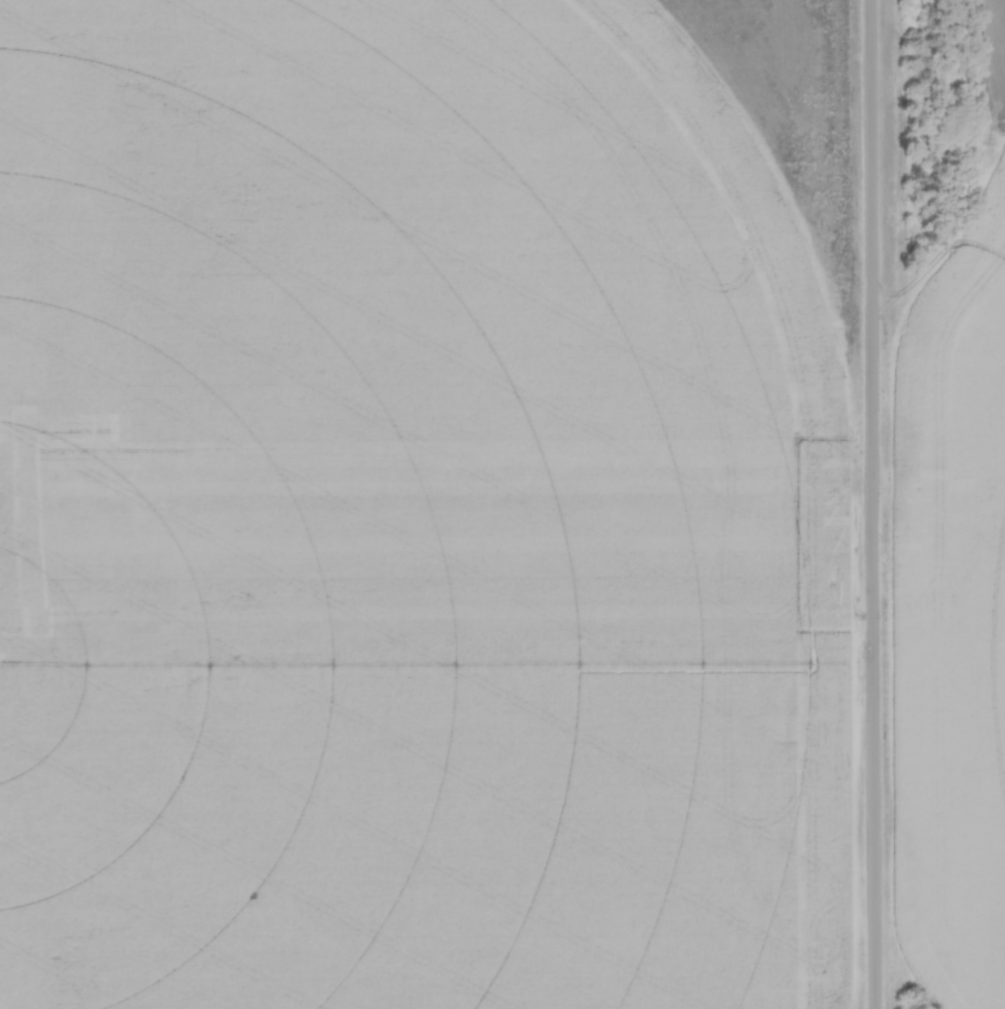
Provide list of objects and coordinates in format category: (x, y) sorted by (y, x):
road: (882, 504)

